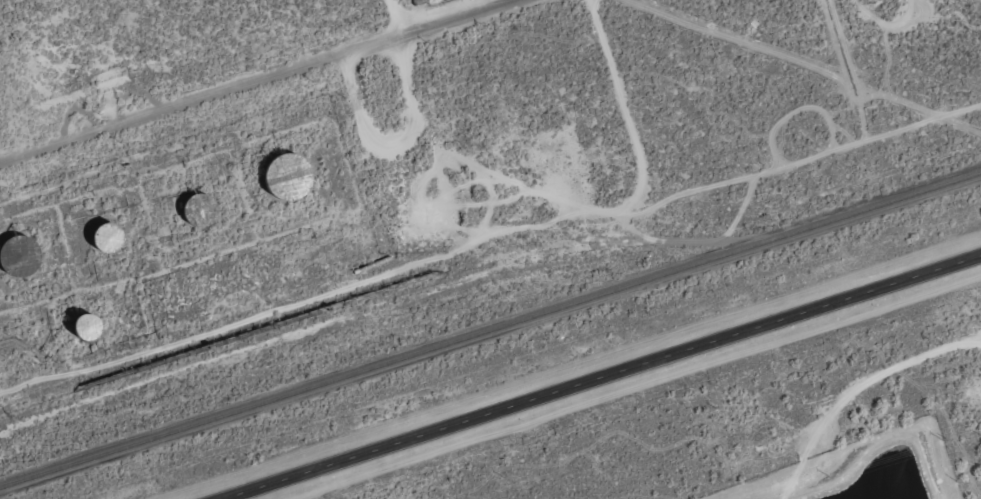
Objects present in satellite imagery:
road: (263, 81)
road: (420, 95)
building: (285, 179)
storage tank: (285, 179)
building: (200, 211)
storage tank: (200, 211)
building: (107, 239)
storage tank: (107, 239)
building: (17, 256)
storage tank: (17, 256)
building: (87, 327)
storage tank: (87, 327)
building: (98, 329)
railway: (490, 331)
road: (603, 377)
wastewater plant: (860, 469)

